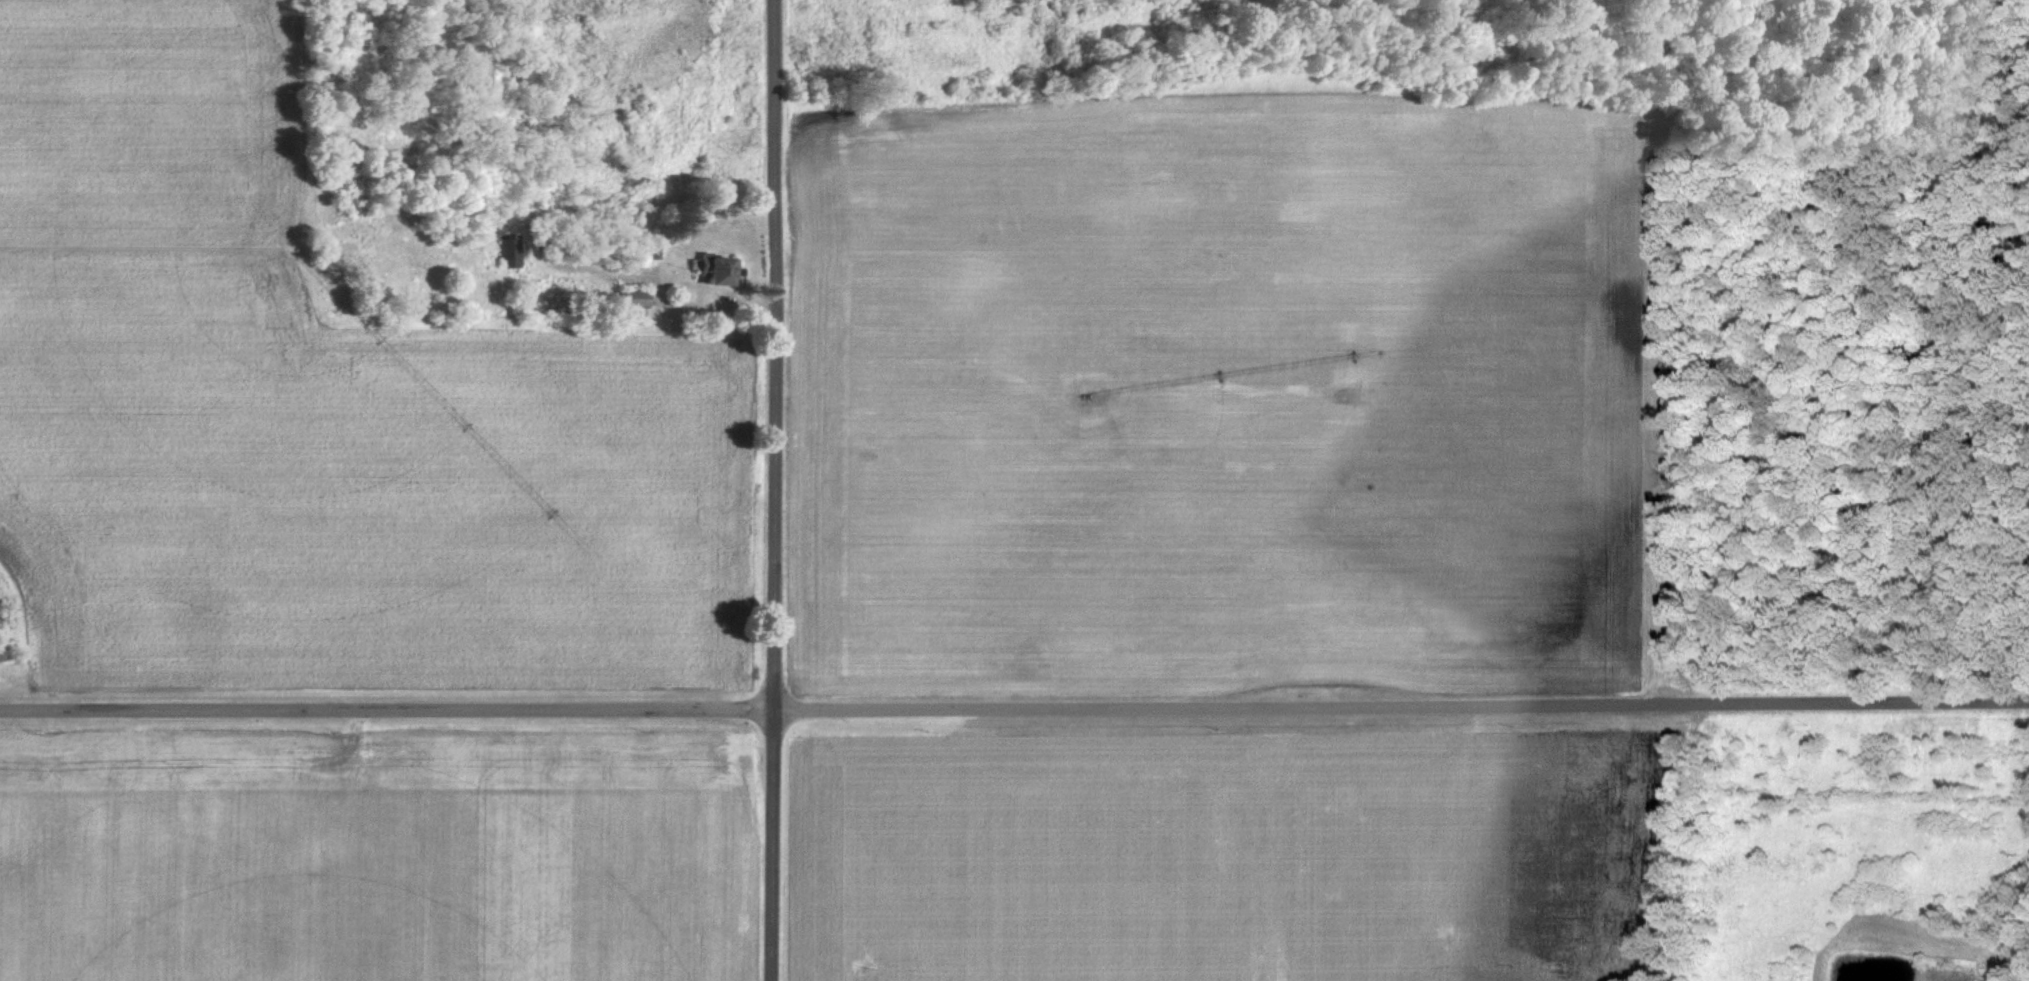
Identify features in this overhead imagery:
building: (510, 250)
building: (714, 270)
road: (775, 490)
road: (1014, 703)

